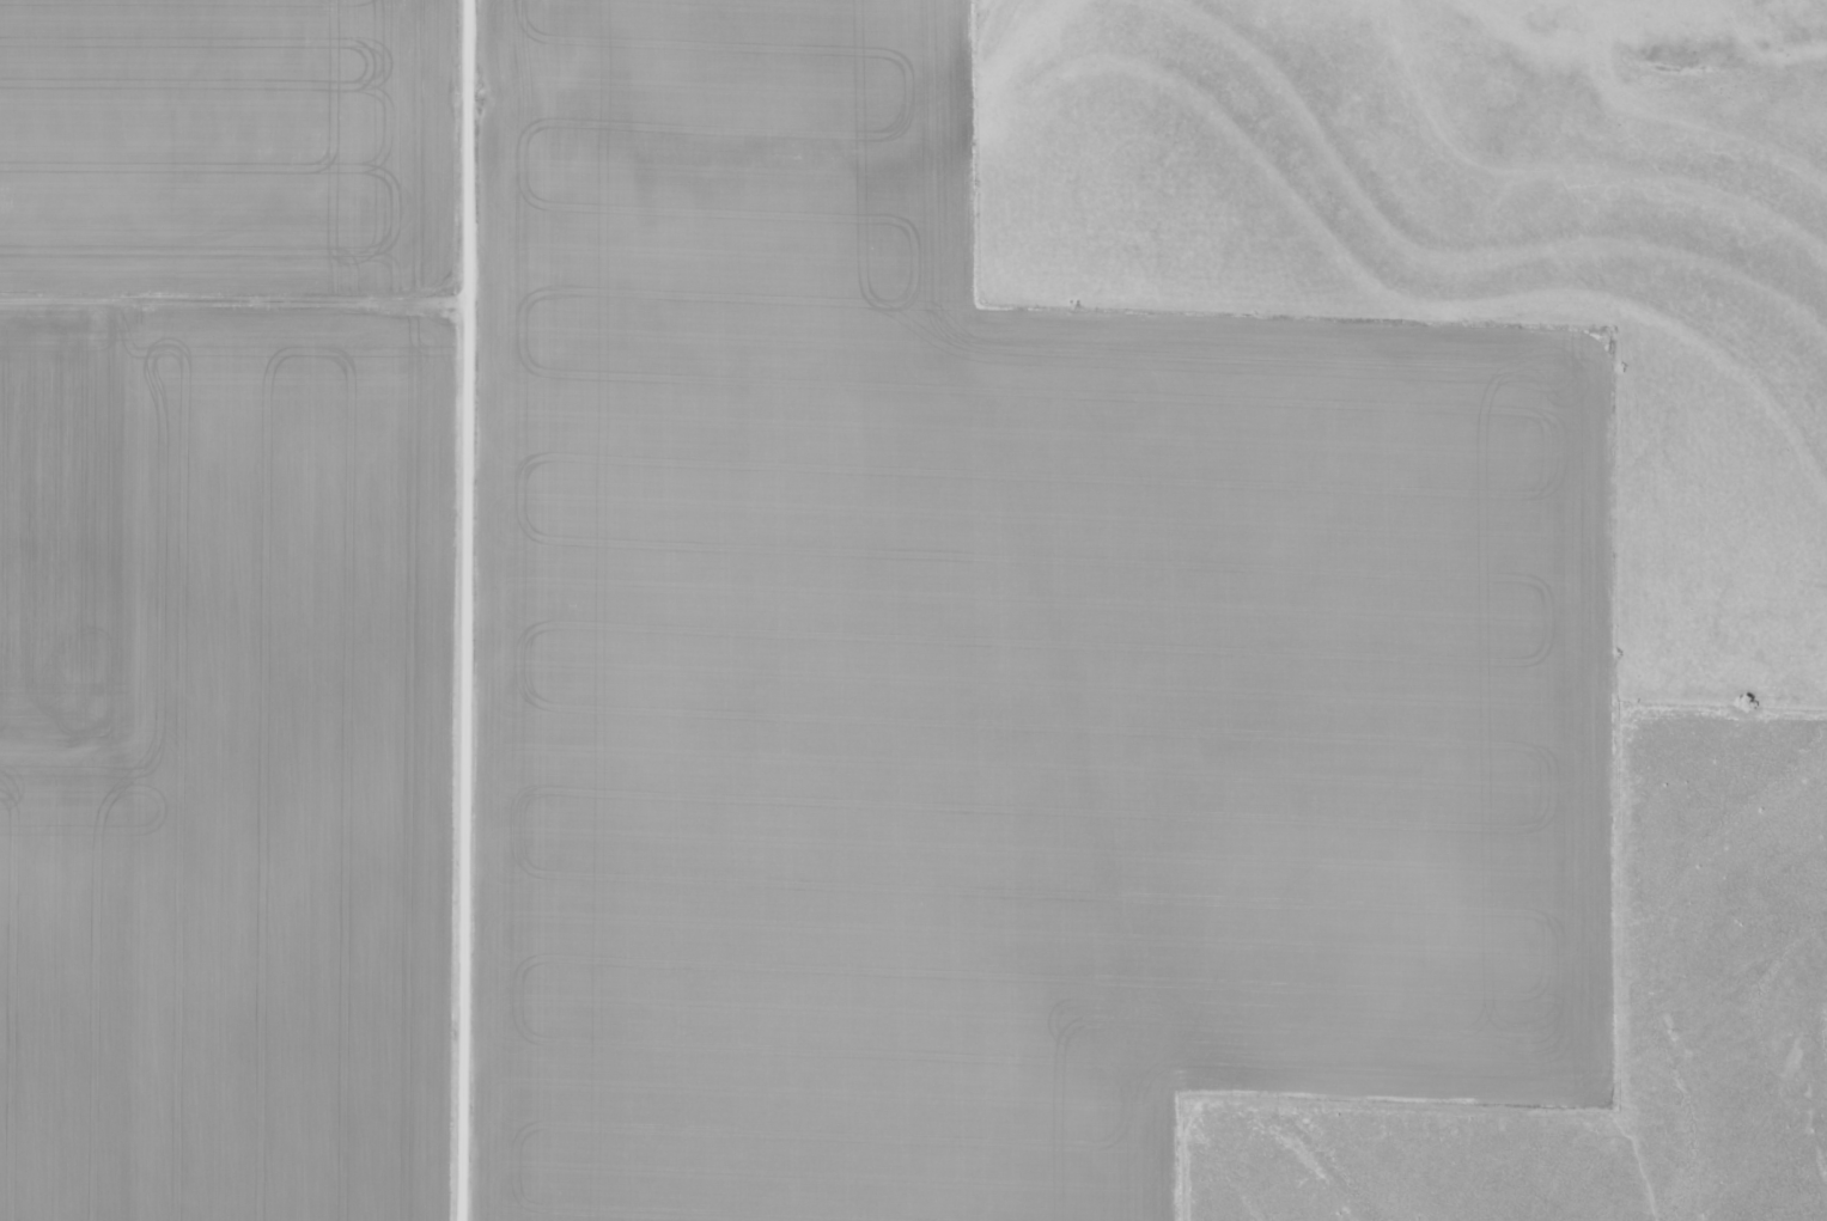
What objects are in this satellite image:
road: (233, 305)
road: (464, 610)

